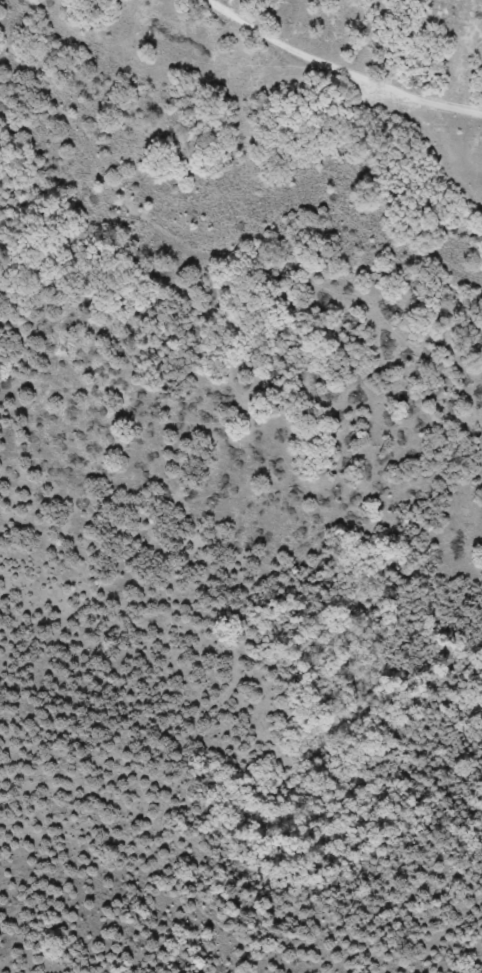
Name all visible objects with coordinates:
road: (343, 70)

